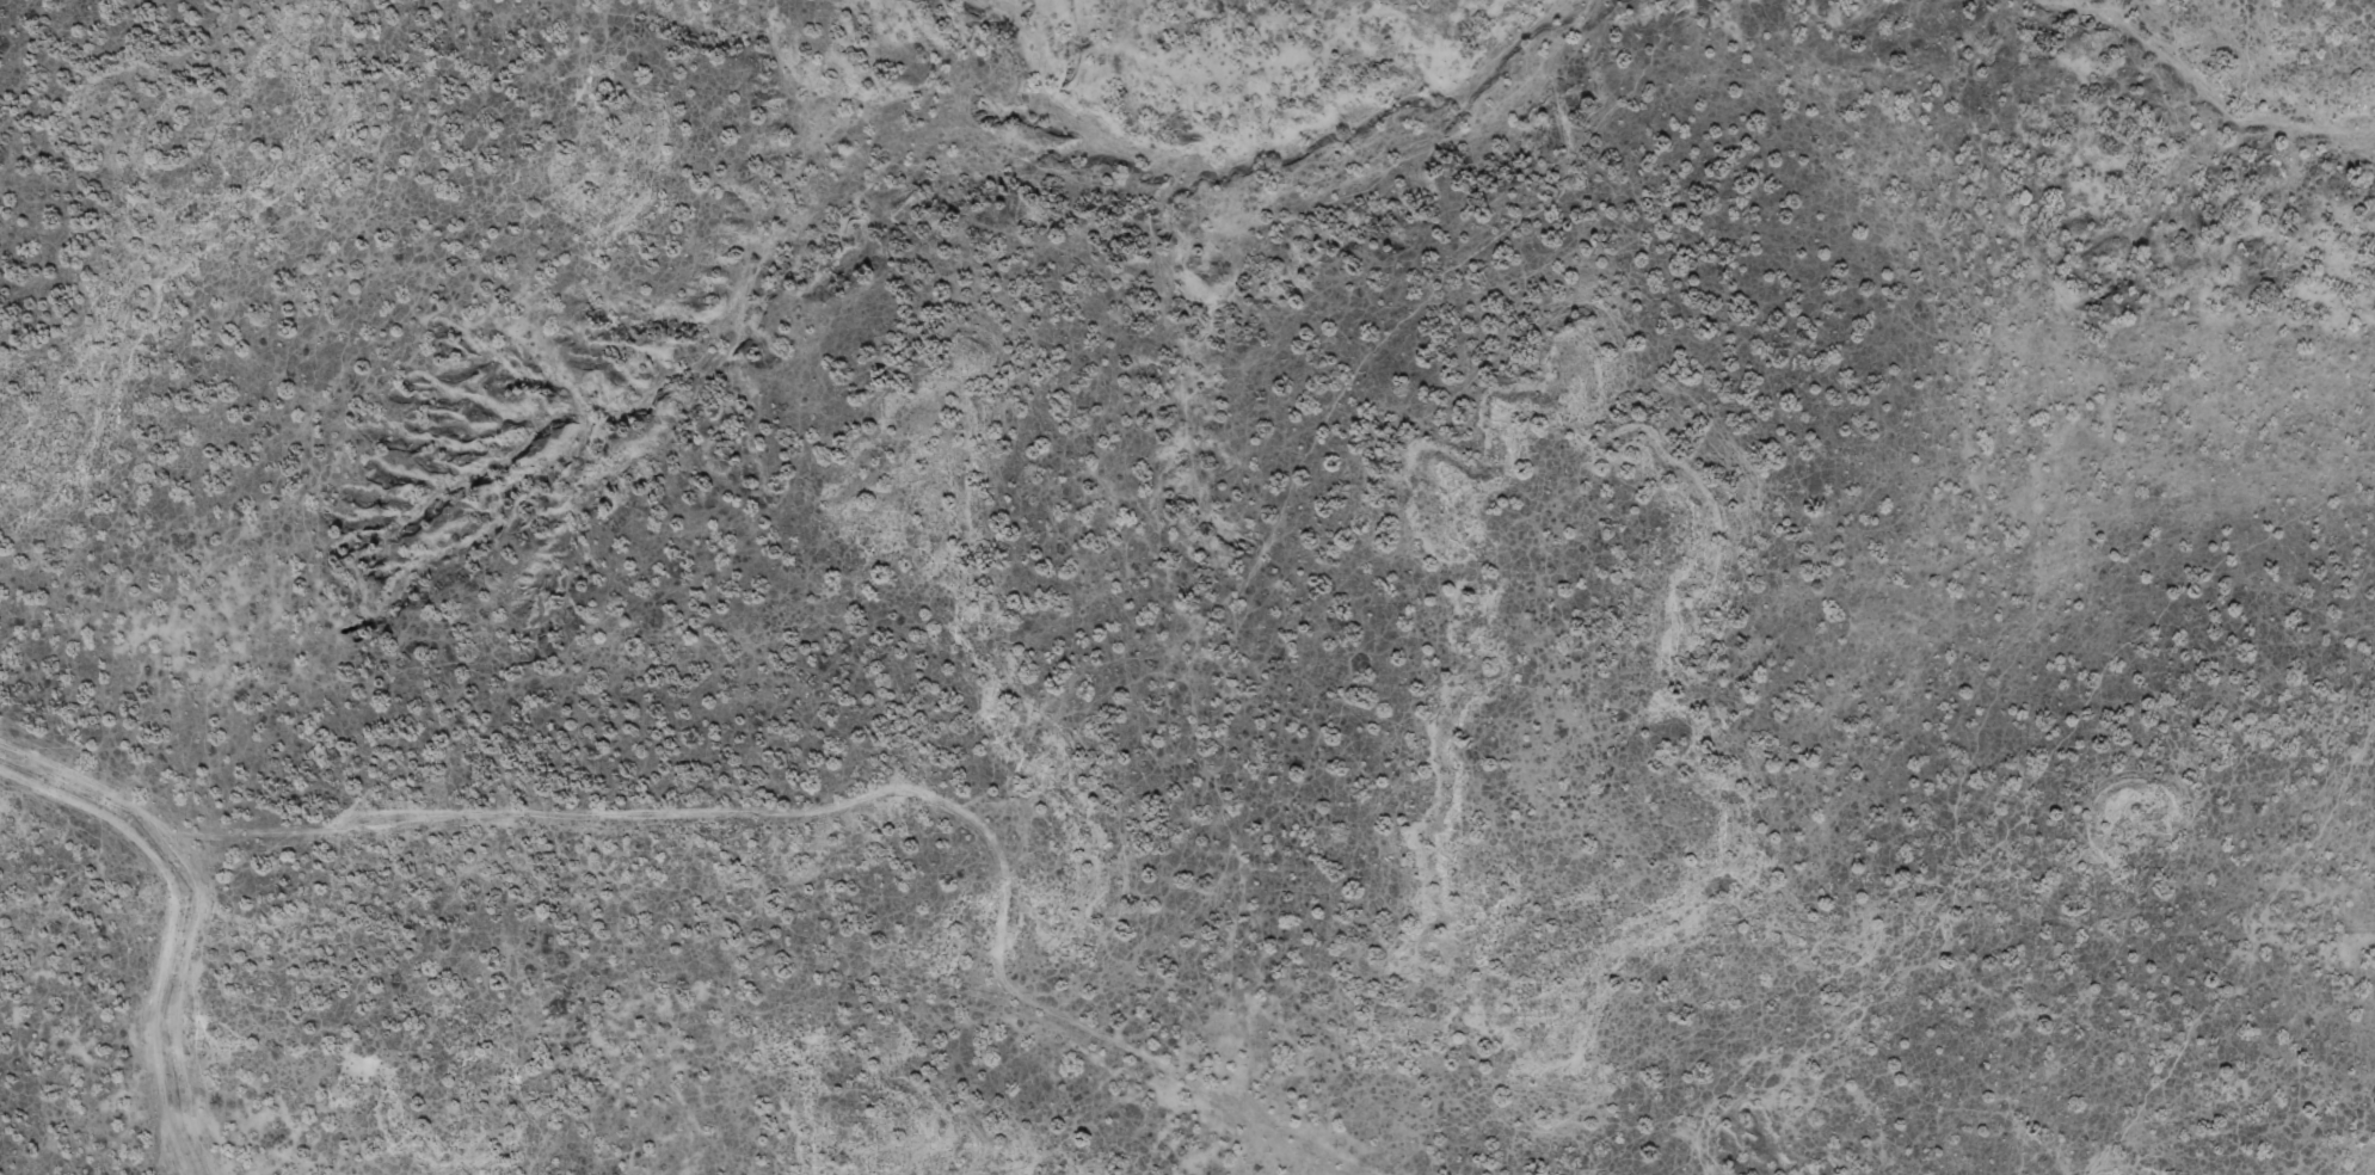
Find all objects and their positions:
road: (750, 896)
road: (202, 1001)

